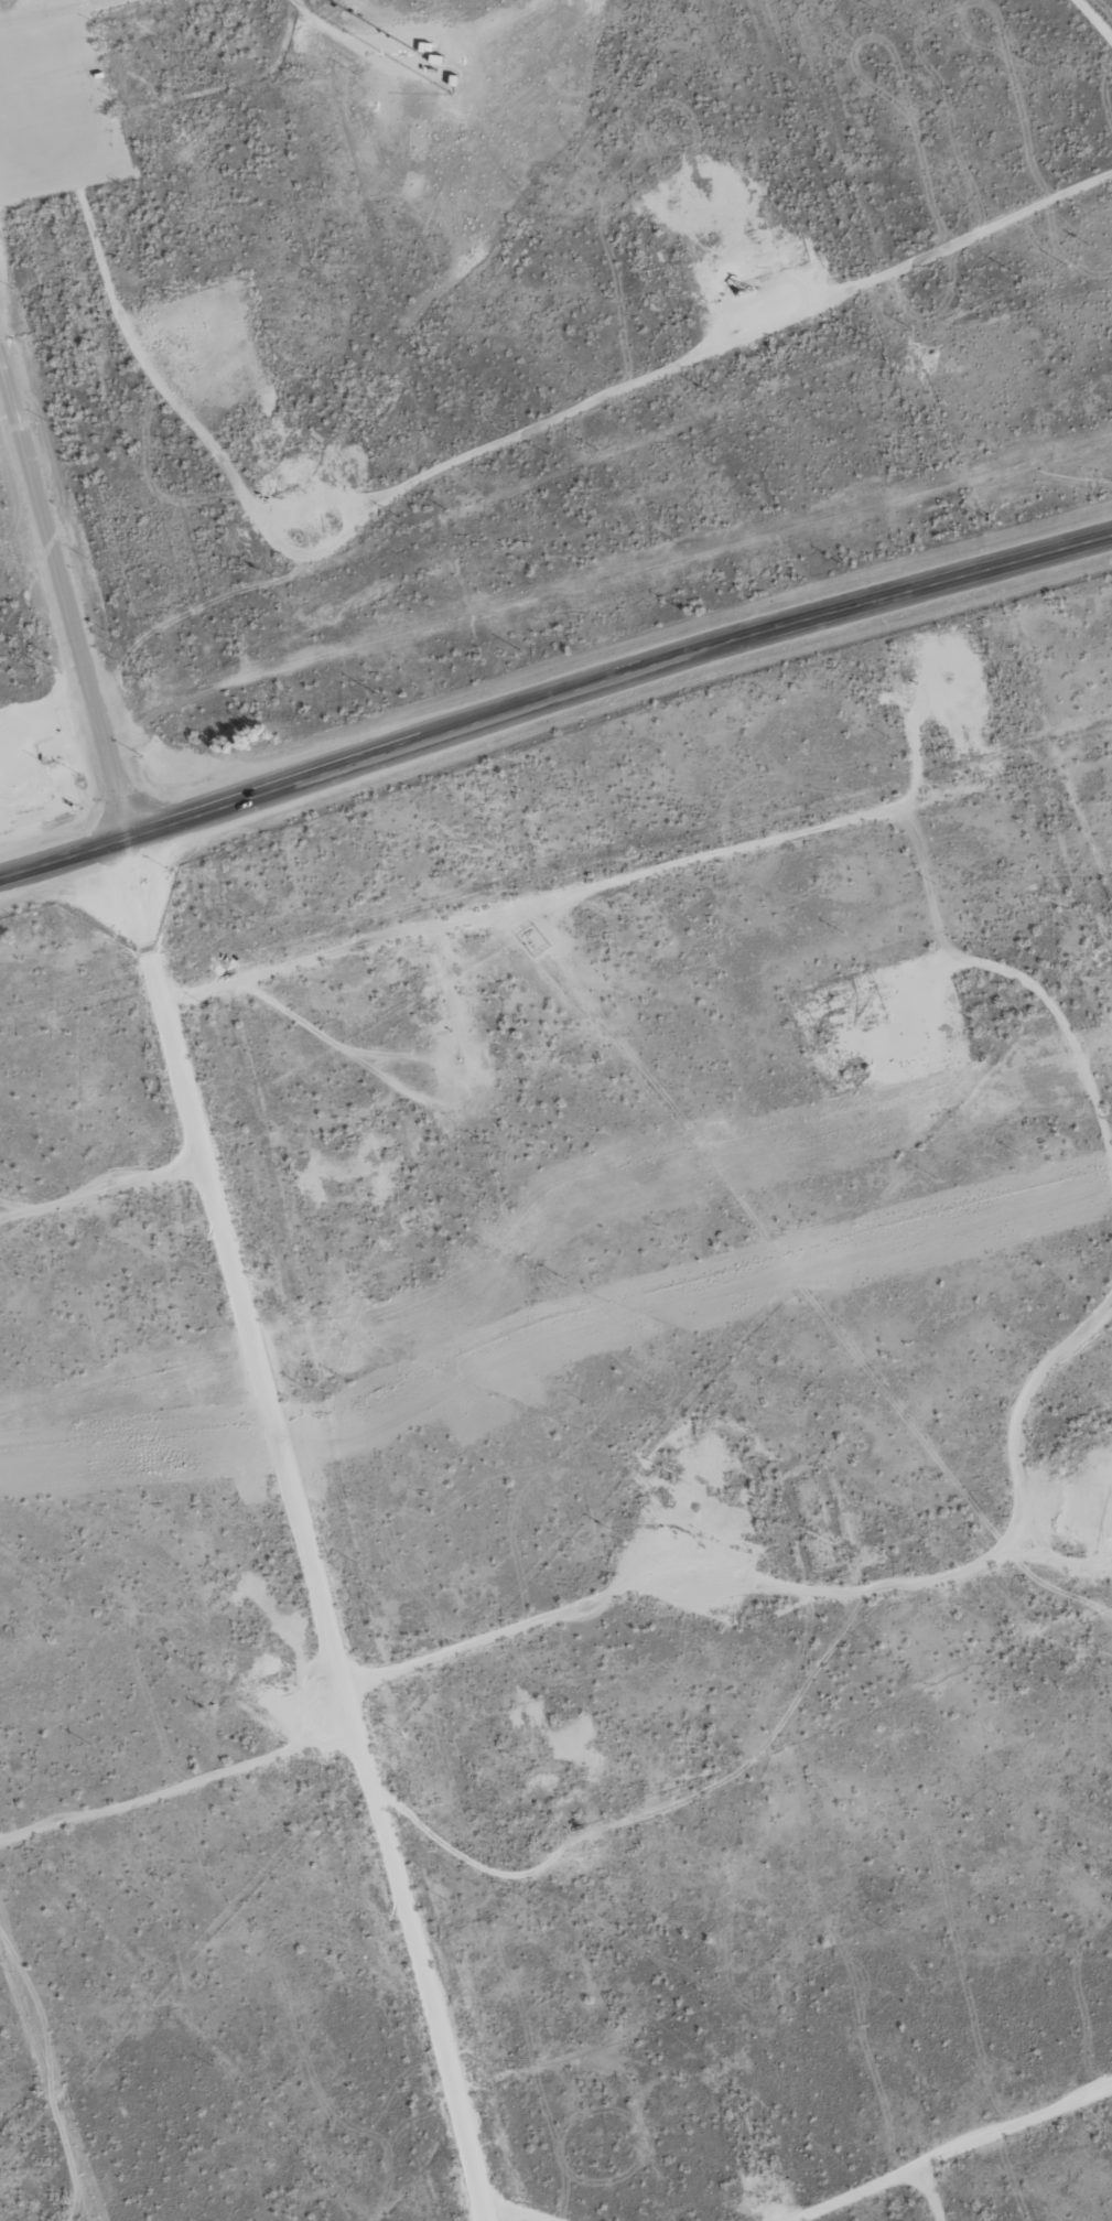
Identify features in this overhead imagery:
road: (66, 604)
road: (552, 694)
road: (315, 1529)

